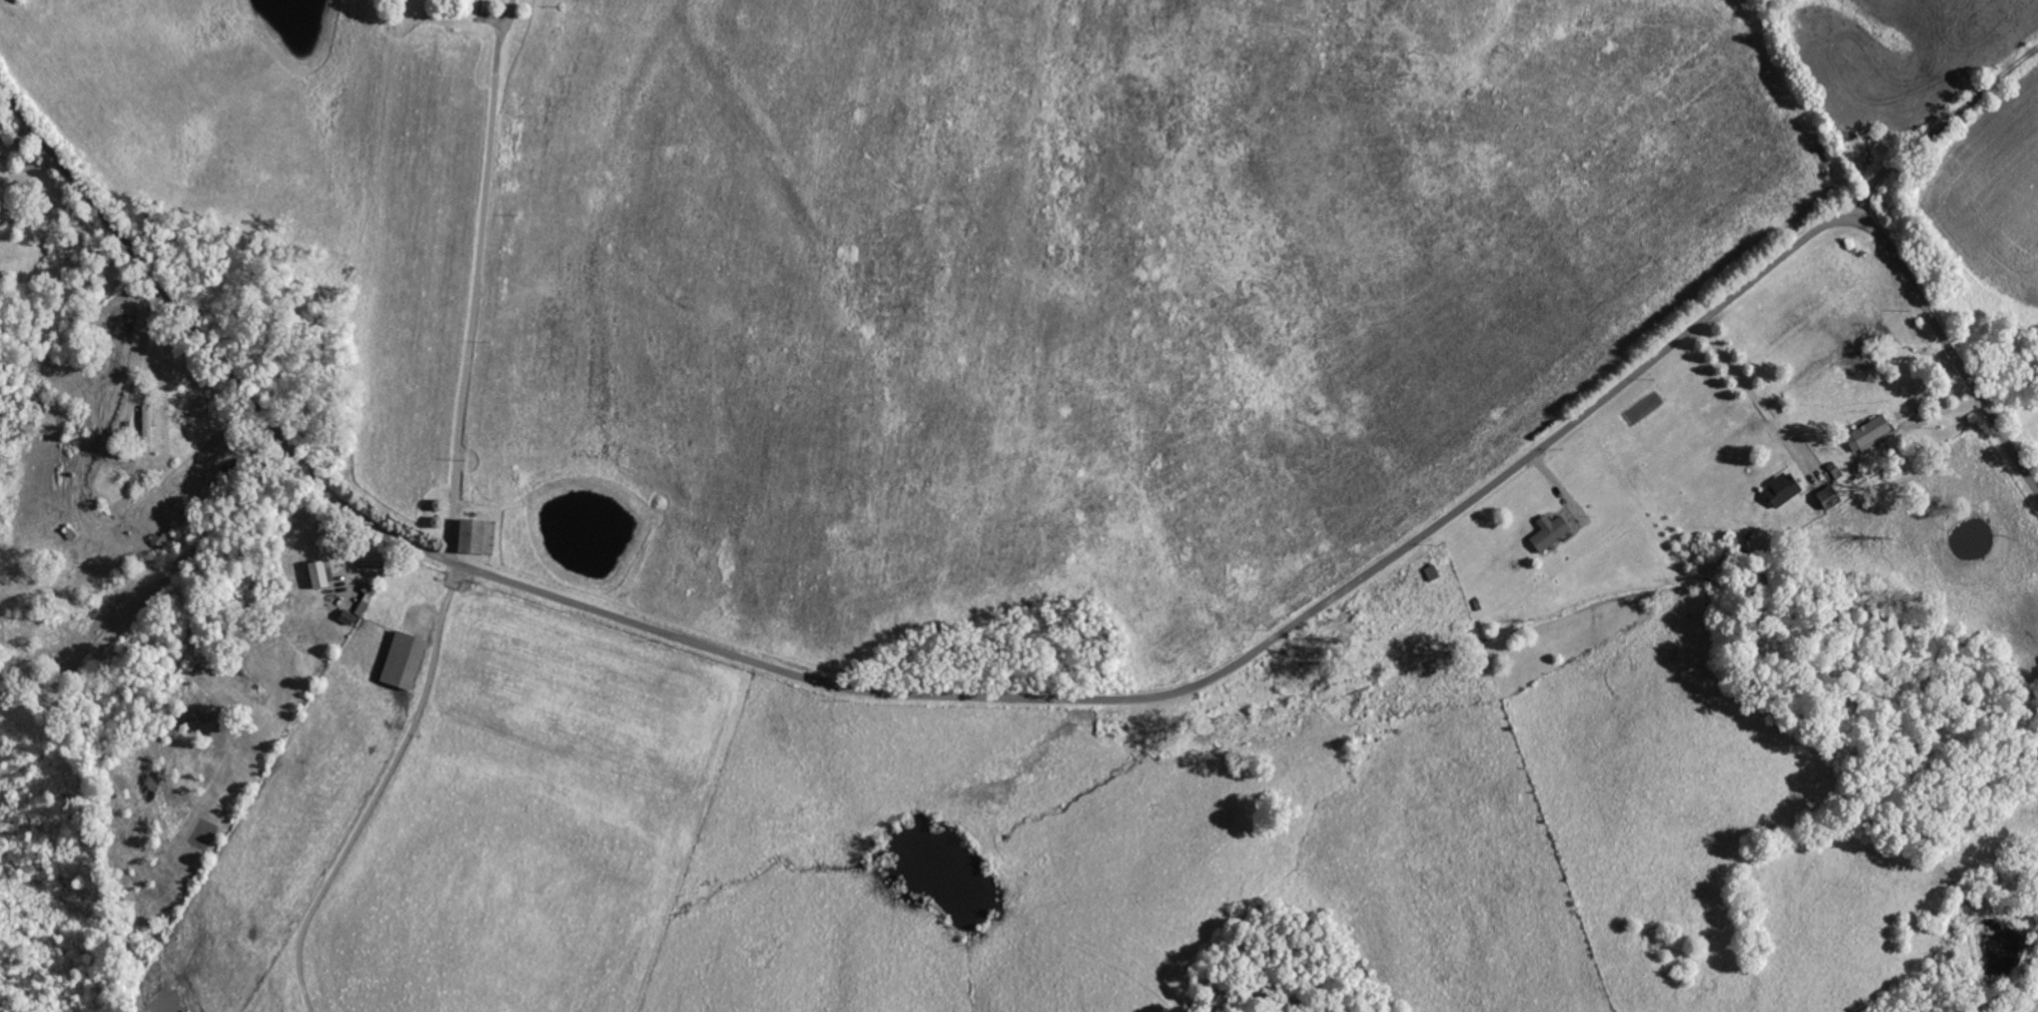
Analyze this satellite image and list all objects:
building: (1869, 435)
building: (1784, 490)
building: (1830, 497)
building: (1551, 533)
building: (479, 537)
building: (321, 575)
building: (366, 600)
building: (348, 618)
building: (405, 661)
road: (1051, 699)

